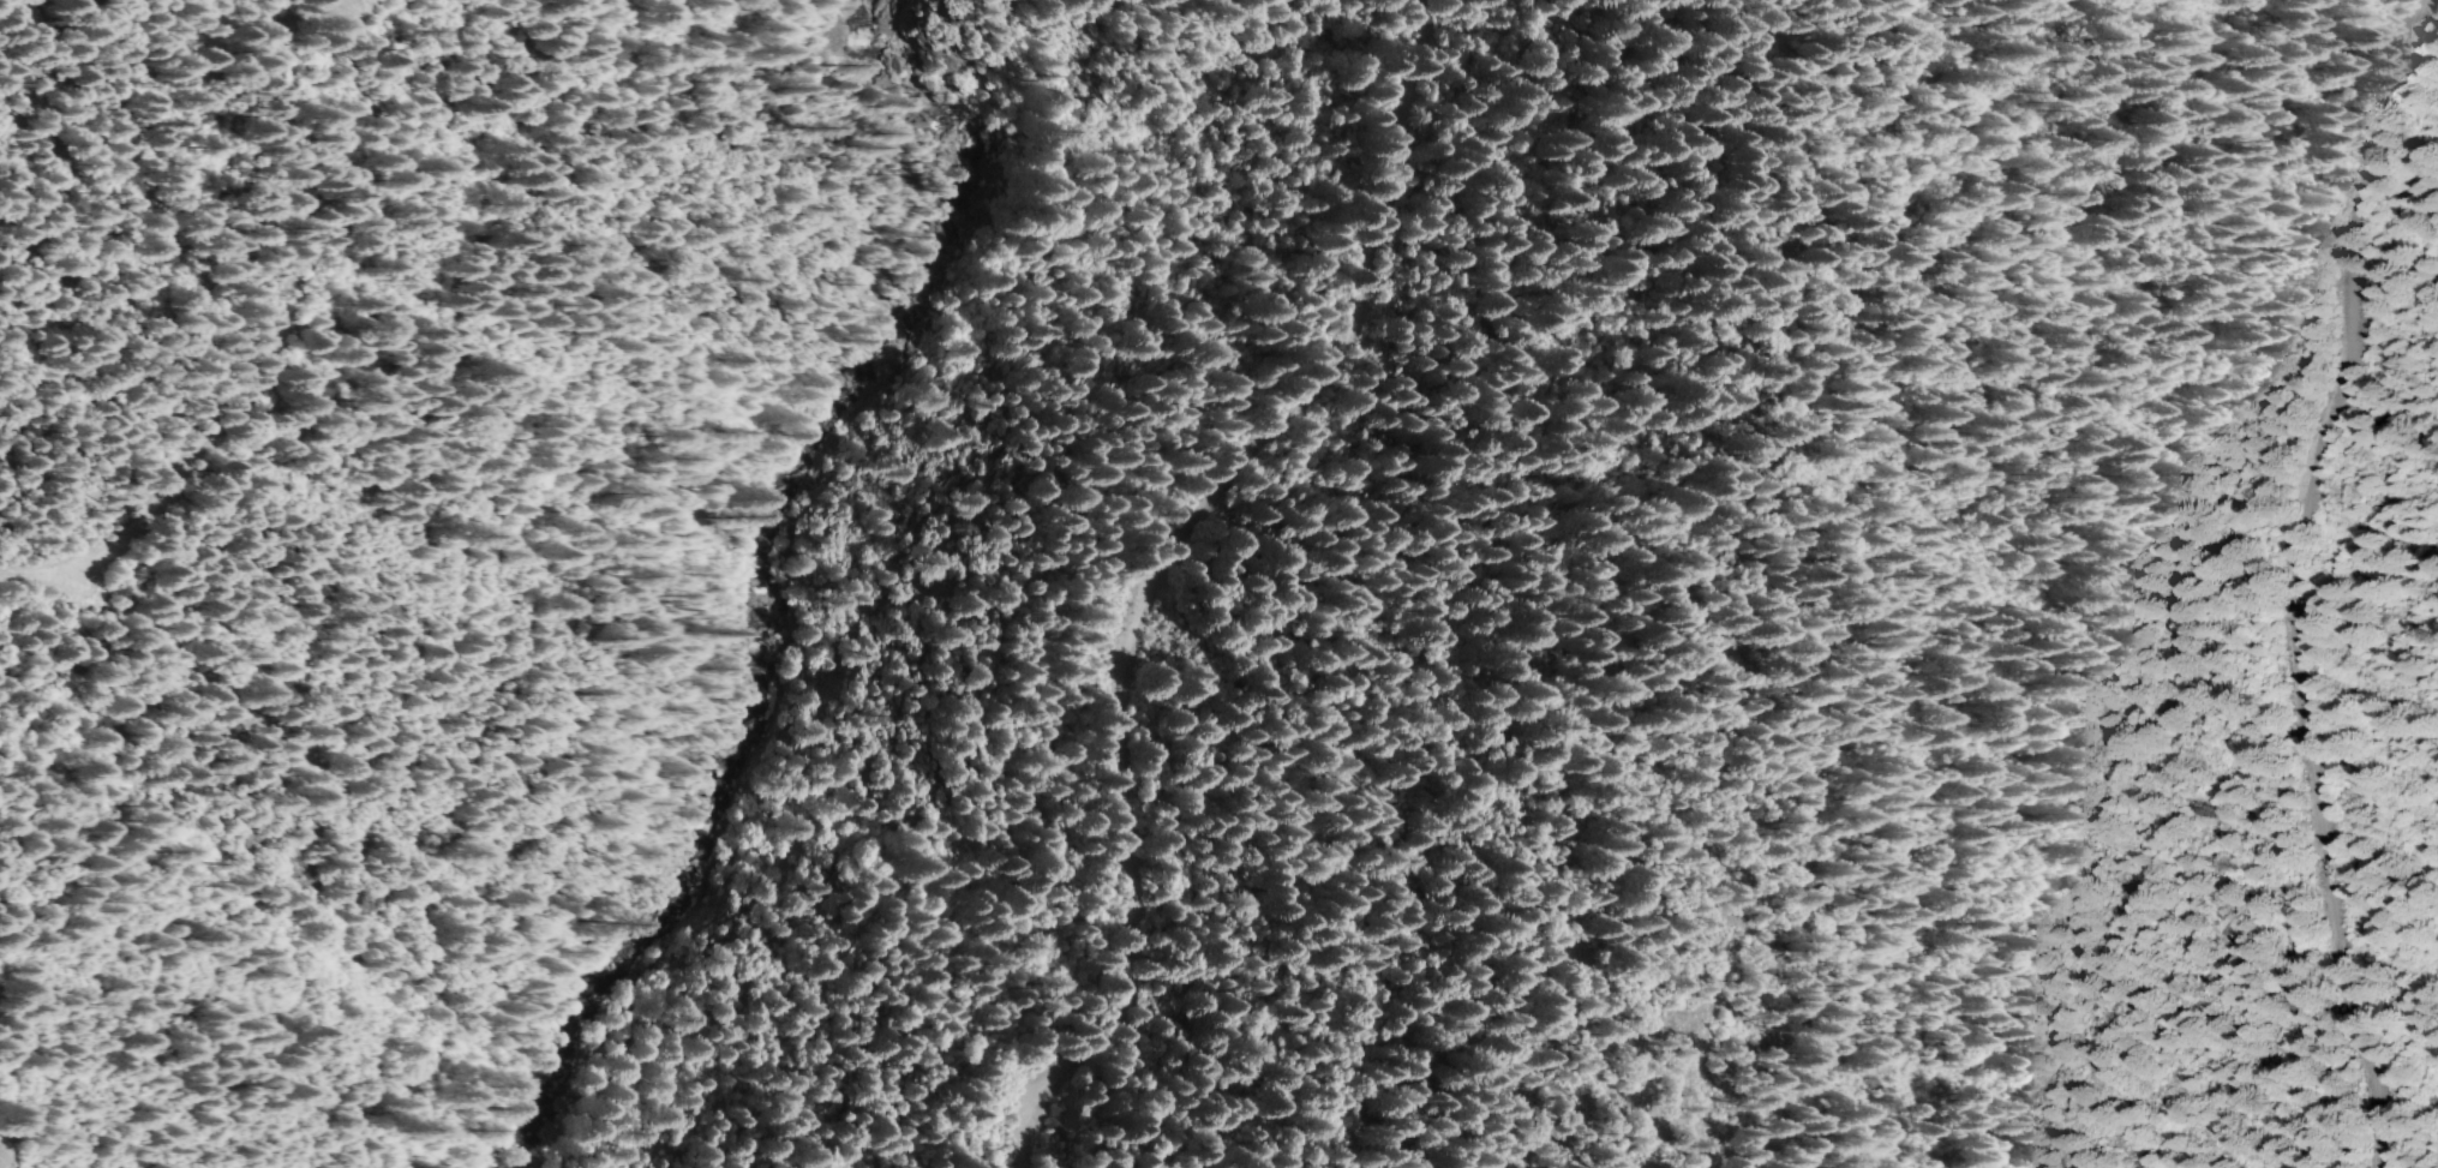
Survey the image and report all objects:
road: (2276, 574)

